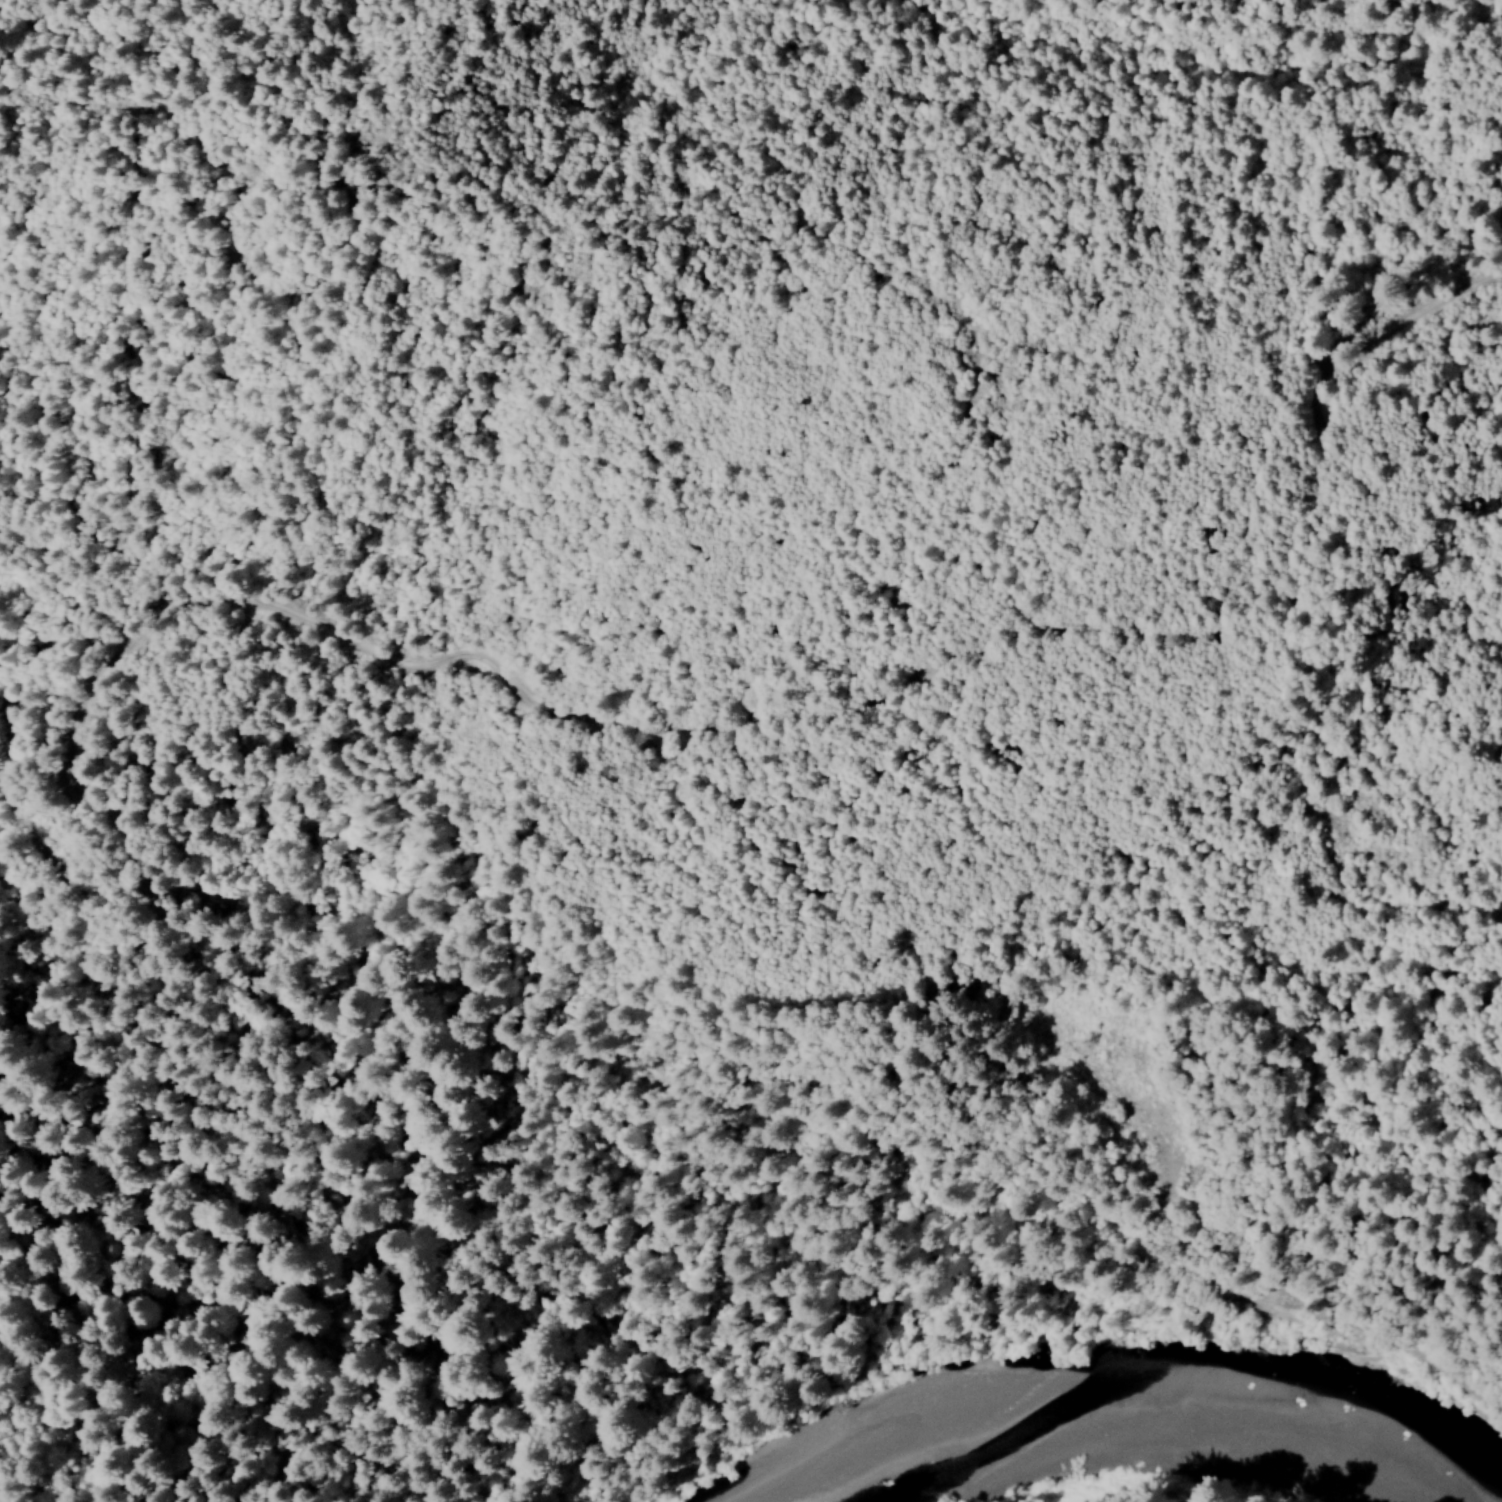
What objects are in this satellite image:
road: (656, 725)
road: (175, 1262)
river: (1100, 1360)

